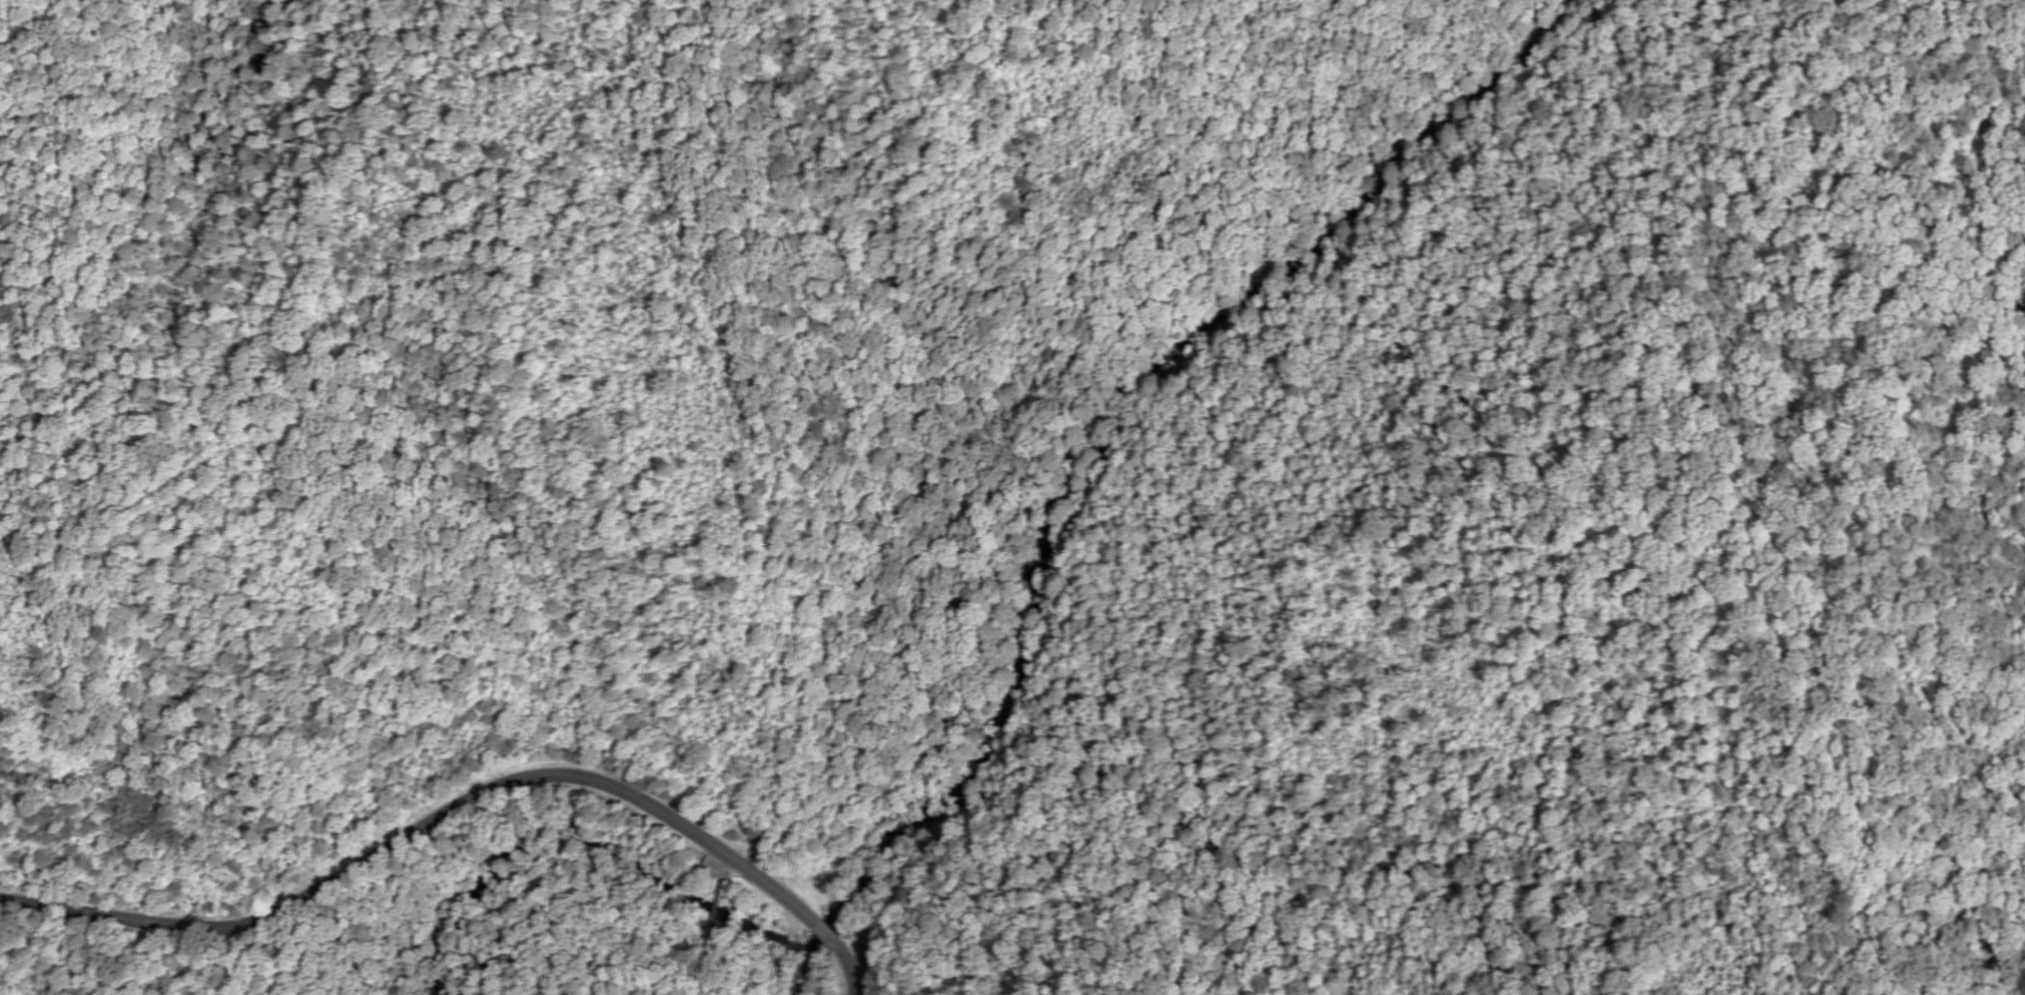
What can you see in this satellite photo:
road: (461, 809)

